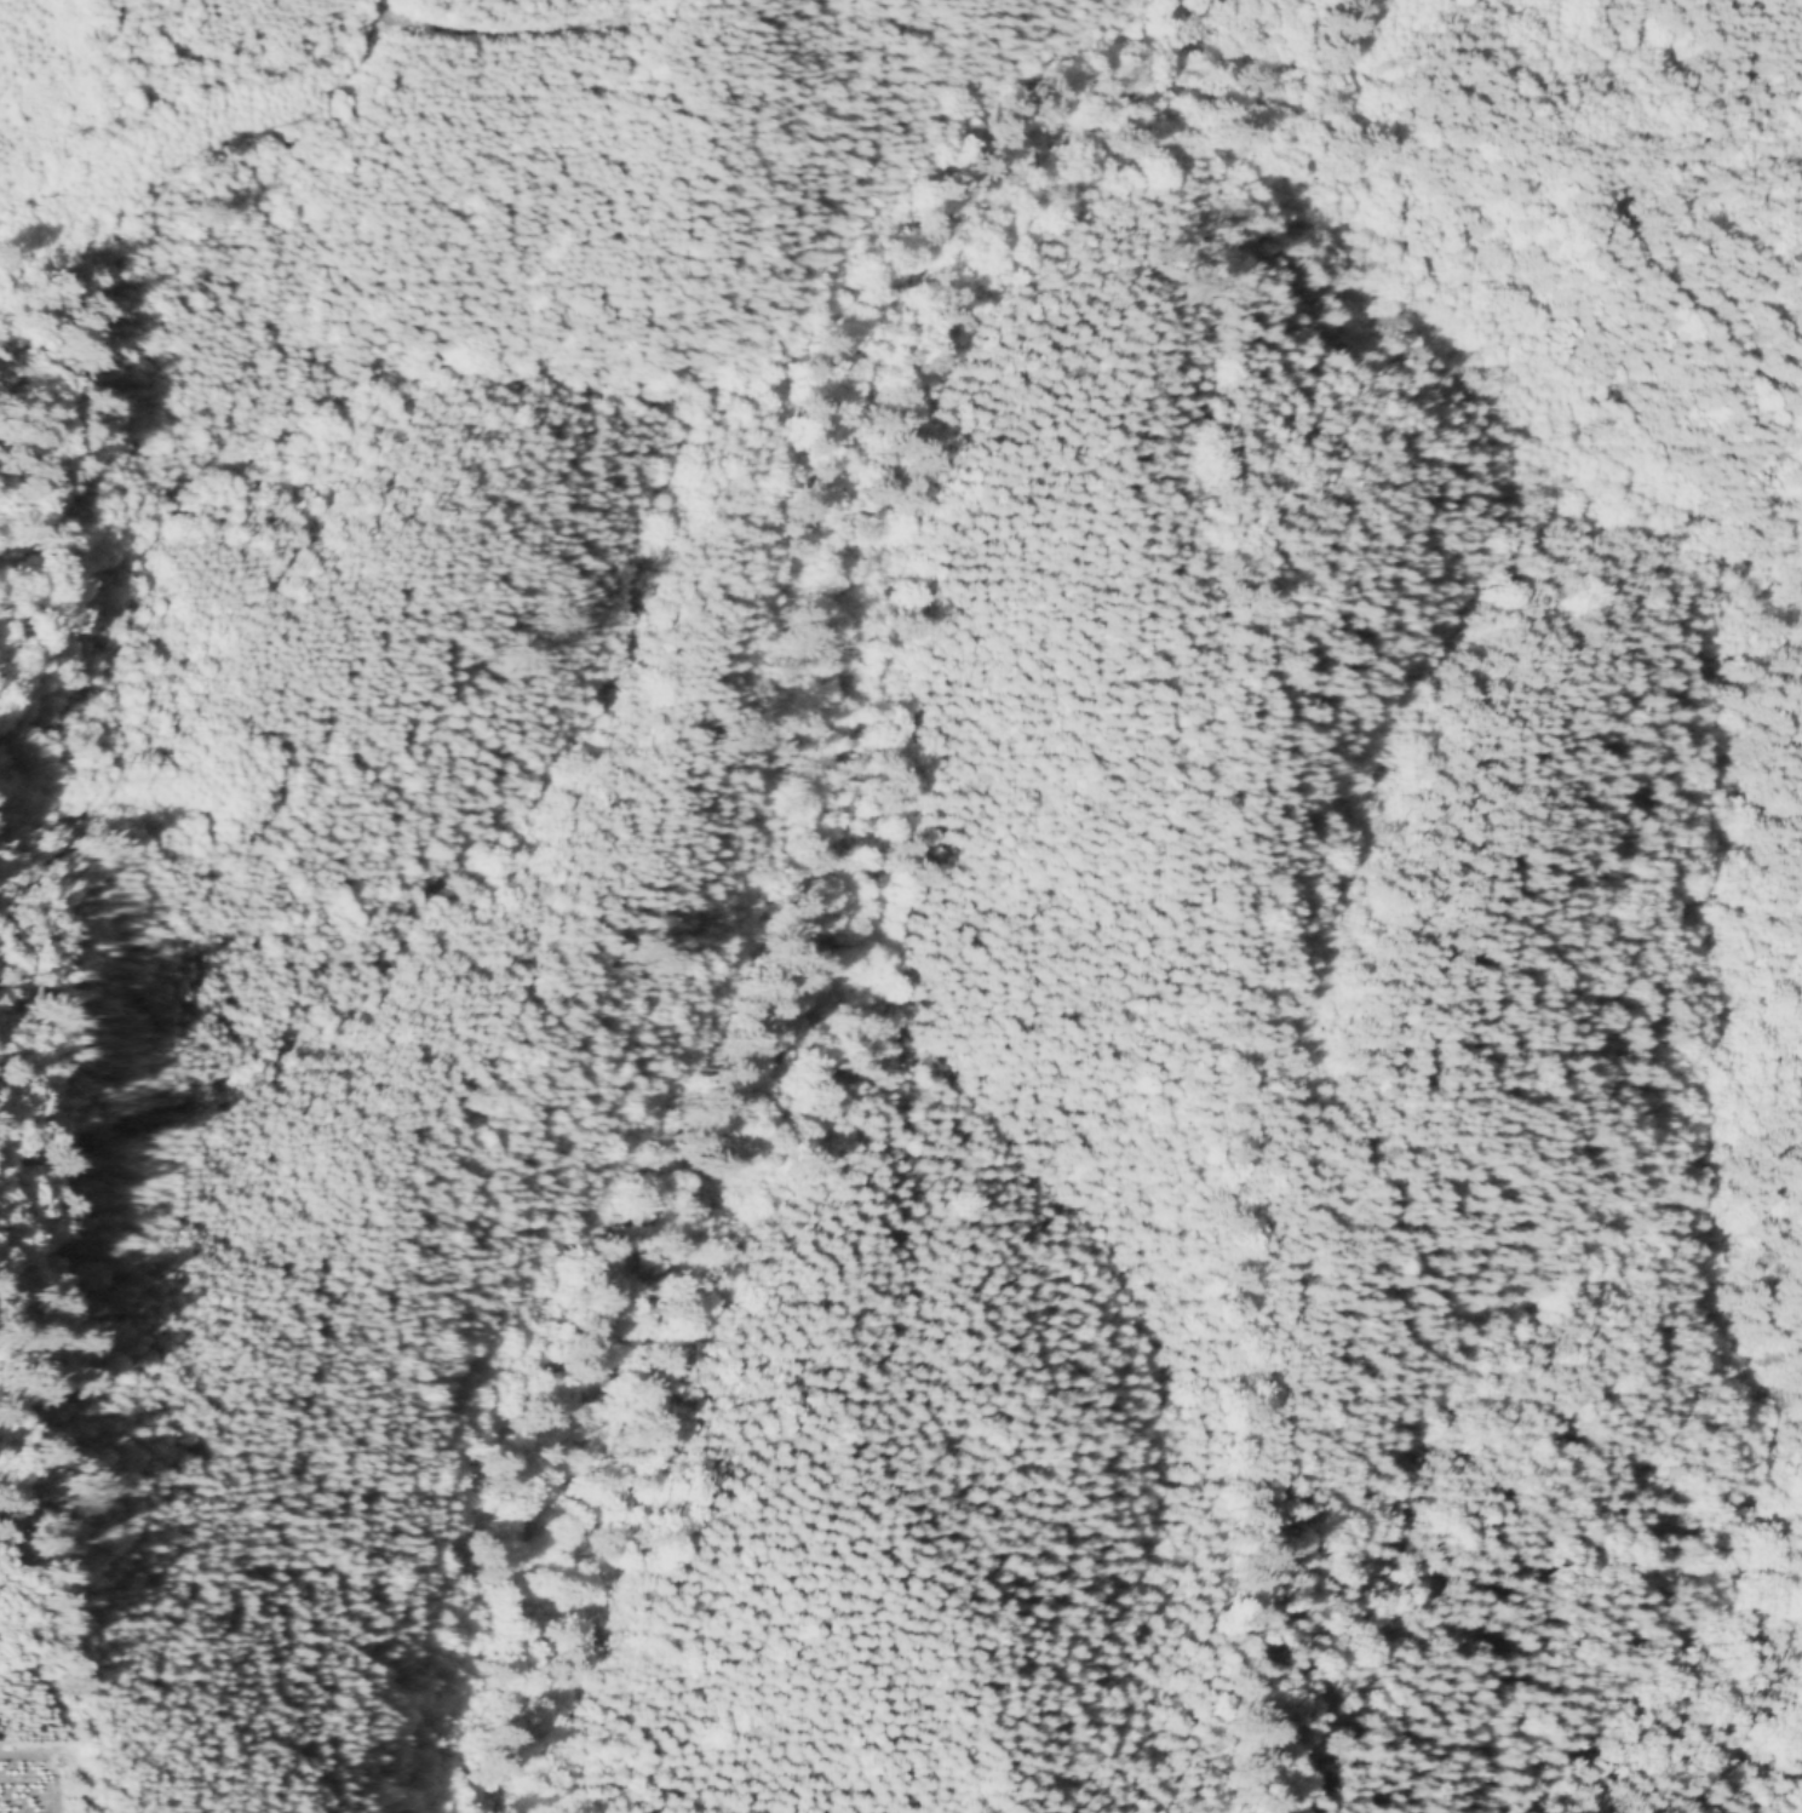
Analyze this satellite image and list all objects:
road: (500, 35)
road: (363, 47)

